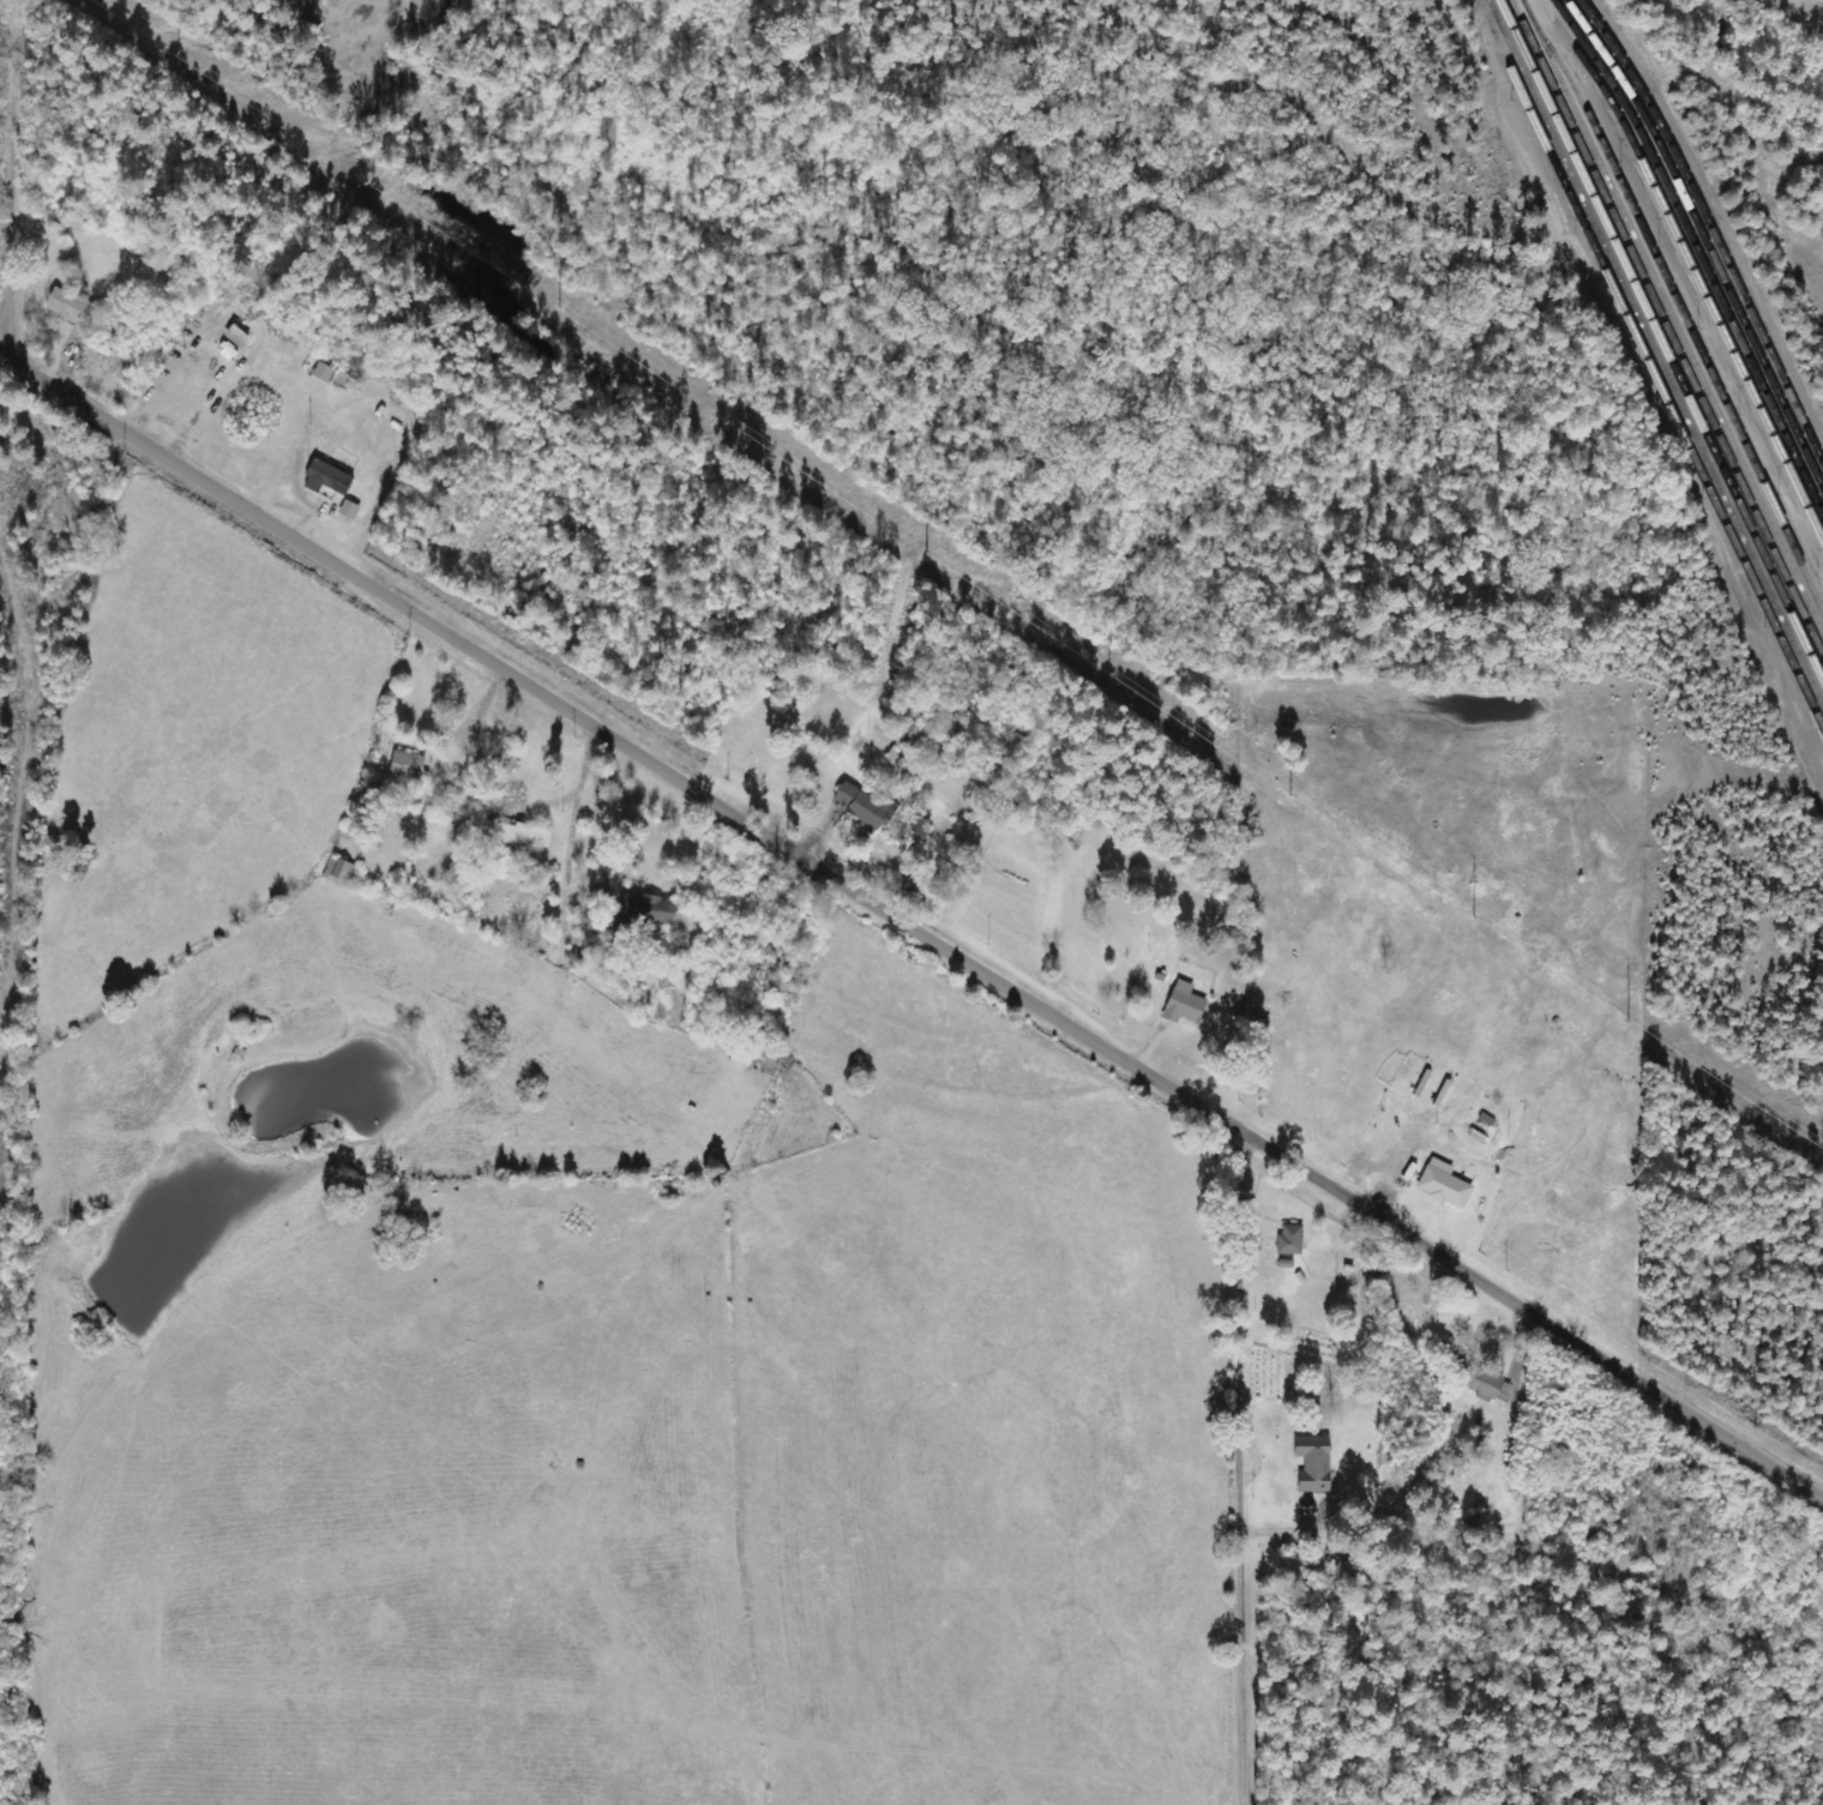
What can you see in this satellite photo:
road: (19, 181)
railway: (1708, 231)
railway: (1702, 241)
railway: (1697, 252)
railway: (1692, 264)
railway: (1675, 305)
building: (67, 306)
railway: (1671, 318)
railway: (1666, 330)
railway: (1660, 339)
railway: (1655, 353)
railway: (1649, 366)
building: (321, 372)
building: (325, 477)
building: (844, 793)
building: (871, 808)
building: (338, 872)
building: (644, 910)
road: (911, 923)
building: (1183, 1003)
building: (1481, 1127)
building: (1443, 1184)
building: (1289, 1240)
building: (1481, 1380)
building: (1312, 1467)
road: (1249, 1472)

